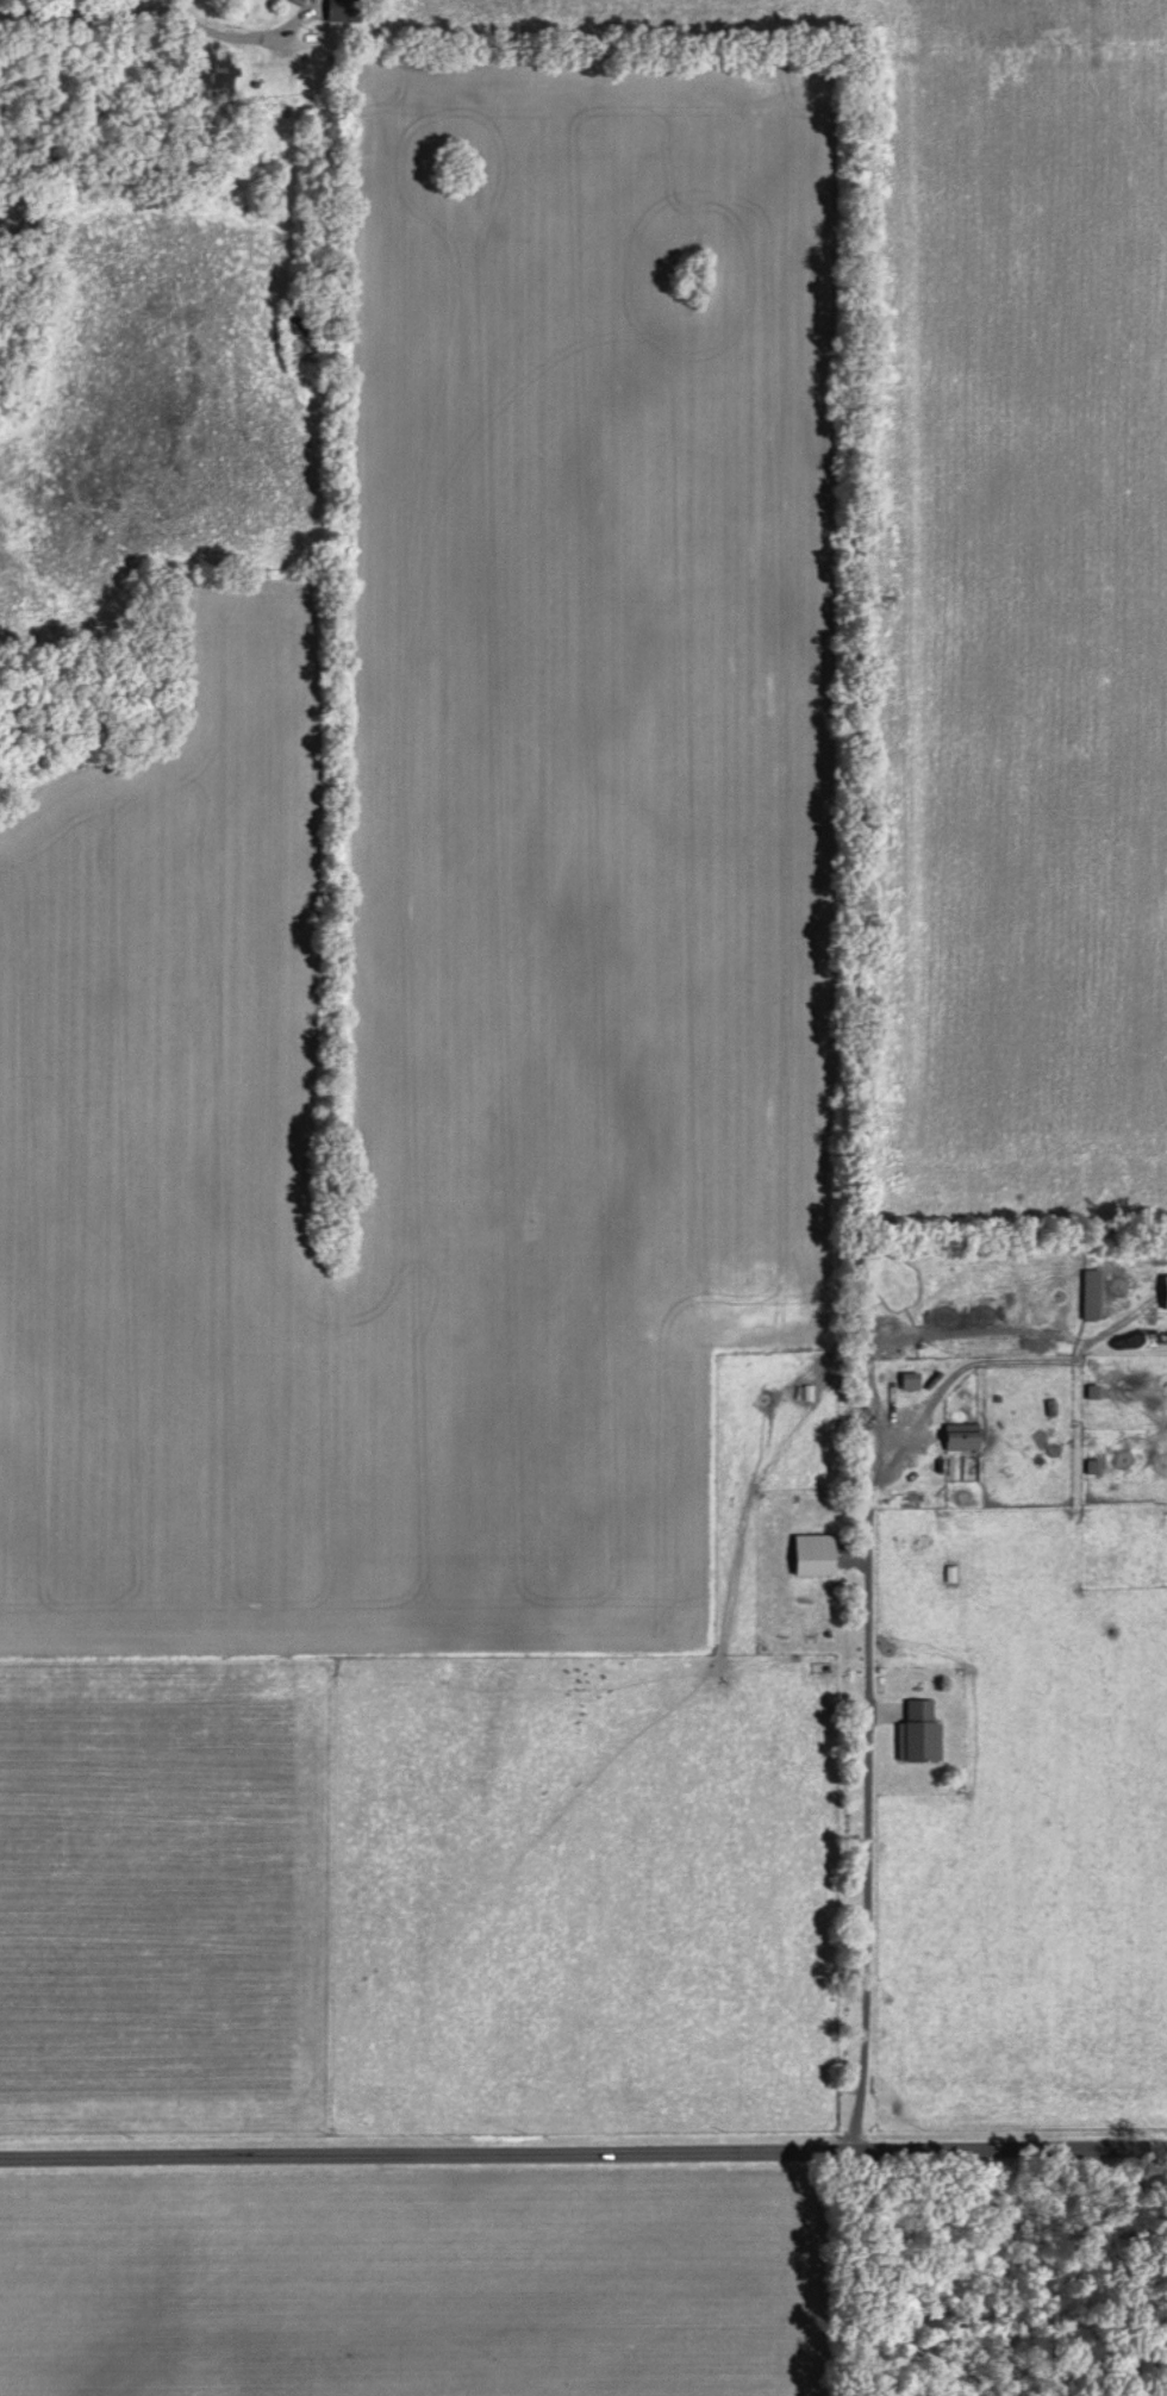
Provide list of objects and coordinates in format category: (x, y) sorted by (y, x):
road: (82, 12)
building: (341, 14)
road: (236, 37)
building: (1166, 1281)
building: (1094, 1297)
building: (913, 1383)
building: (965, 1439)
building: (817, 1556)
road: (870, 1689)
building: (922, 1735)
road: (582, 2142)

